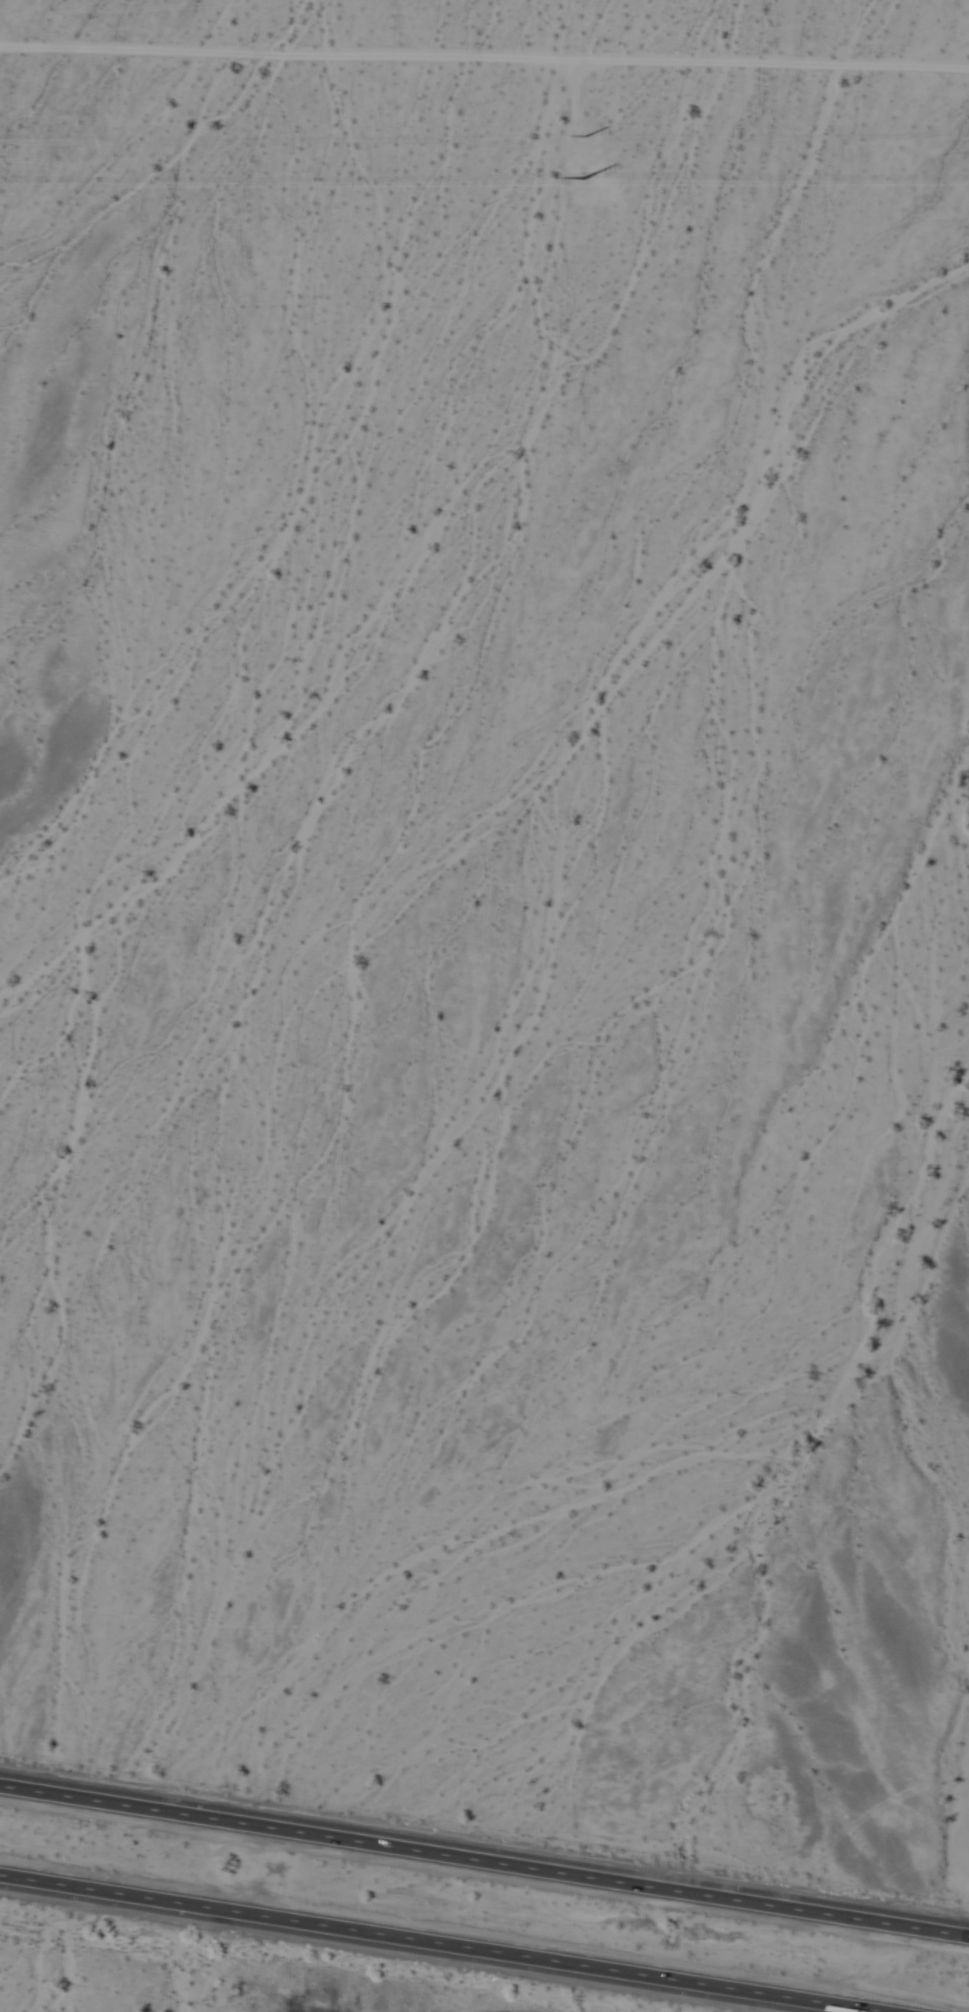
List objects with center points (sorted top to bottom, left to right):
road: (484, 1856)
road: (422, 1946)

